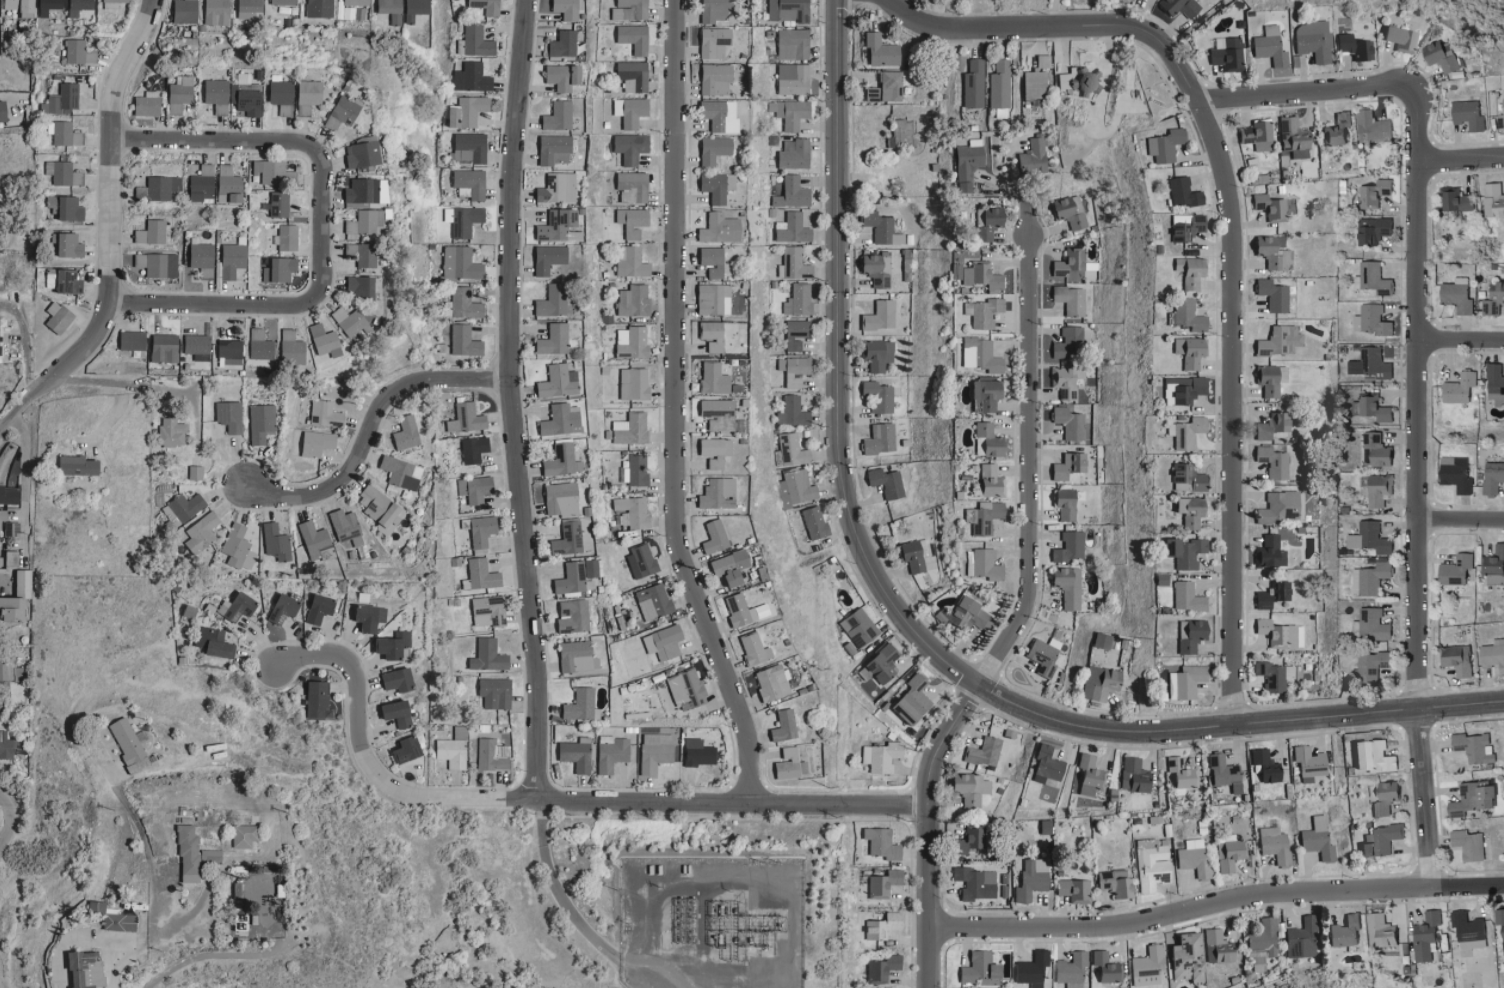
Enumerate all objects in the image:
building: (1131, 0)
building: (285, 2)
building: (321, 2)
building: (112, 3)
building: (357, 3)
building: (50, 6)
building: (483, 6)
building: (21, 7)
building: (79, 7)
building: (249, 8)
building: (1176, 8)
building: (401, 9)
building: (563, 9)
building: (627, 9)
building: (713, 10)
building: (786, 10)
building: (186, 11)
building: (217, 12)
road: (1054, 14)
road: (979, 15)
road: (1059, 29)
building: (630, 37)
building: (1397, 39)
building: (709, 40)
building: (474, 41)
building: (1311, 41)
building: (561, 43)
building: (790, 43)
building: (1268, 47)
building: (1353, 47)
building: (878, 50)
building: (74, 51)
building: (1226, 53)
building: (1440, 57)
building: (1041, 60)
building: (631, 75)
building: (558, 76)
building: (468, 77)
building: (710, 78)
building: (791, 78)
building: (1083, 81)
building: (972, 83)
building: (998, 84)
building: (1033, 84)
building: (889, 85)
building: (215, 91)
road: (1346, 92)
building: (180, 93)
building: (305, 96)
building: (61, 99)
building: (244, 101)
building: (1502, 103)
building: (147, 104)
building: (341, 108)
building: (629, 110)
building: (463, 111)
building: (4, 112)
building: (788, 113)
building: (716, 114)
building: (555, 115)
building: (1466, 116)
building: (1371, 127)
building: (1335, 128)
building: (1289, 133)
building: (63, 134)
building: (1255, 134)
building: (1162, 144)
building: (467, 146)
building: (626, 147)
building: (552, 149)
building: (710, 149)
building: (359, 153)
building: (791, 153)
building: (1031, 156)
building: (966, 163)
road: (1461, 164)
building: (273, 172)
building: (62, 173)
building: (200, 183)
building: (466, 183)
building: (713, 185)
building: (630, 186)
building: (156, 188)
building: (228, 188)
building: (555, 188)
building: (359, 190)
building: (1181, 191)
building: (790, 192)
road: (1015, 193)
building: (1373, 193)
building: (1454, 200)
building: (1492, 200)
building: (277, 203)
building: (1272, 206)
building: (65, 208)
building: (1068, 211)
road: (325, 216)
building: (464, 220)
building: (627, 220)
building: (367, 221)
building: (984, 222)
building: (553, 224)
building: (709, 227)
building: (878, 227)
building: (1183, 227)
building: (790, 228)
building: (1371, 230)
building: (149, 232)
road: (110, 236)
building: (284, 236)
building: (65, 245)
building: (1271, 251)
building: (197, 255)
building: (362, 255)
building: (544, 258)
building: (228, 259)
building: (709, 261)
building: (1065, 261)
building: (458, 262)
building: (630, 262)
building: (157, 264)
building: (793, 264)
building: (873, 267)
building: (277, 269)
building: (1188, 271)
building: (980, 275)
building: (1373, 278)
building: (63, 281)
building: (355, 288)
building: (1271, 294)
building: (1456, 295)
building: (711, 299)
building: (797, 299)
building: (1068, 299)
building: (1493, 299)
building: (549, 300)
building: (631, 300)
building: (982, 311)
building: (878, 315)
building: (1186, 315)
building: (55, 317)
building: (347, 321)
building: (793, 333)
building: (709, 335)
building: (128, 339)
building: (550, 339)
building: (321, 340)
building: (461, 340)
building: (1278, 340)
building: (628, 342)
building: (1065, 342)
road: (1462, 344)
building: (195, 346)
building: (161, 347)
building: (259, 348)
building: (227, 351)
road: (26, 352)
building: (875, 353)
building: (1188, 353)
building: (985, 357)
building: (1368, 364)
road: (839, 368)
building: (793, 370)
building: (712, 378)
building: (1268, 378)
building: (1061, 380)
building: (553, 382)
building: (632, 383)
building: (1495, 384)
road: (144, 386)
building: (1458, 388)
building: (1180, 389)
building: (983, 393)
building: (876, 395)
road: (515, 399)
road: (676, 407)
building: (1370, 407)
building: (794, 411)
building: (324, 413)
building: (715, 413)
building: (228, 415)
road: (1232, 417)
building: (465, 418)
building: (557, 419)
building: (259, 422)
building: (1066, 422)
building: (1270, 424)
road: (373, 426)
building: (627, 429)
building: (1184, 431)
building: (168, 432)
building: (402, 432)
building: (877, 438)
building: (985, 439)
building: (312, 442)
building: (471, 449)
building: (792, 449)
building: (711, 450)
building: (1375, 450)
building: (560, 460)
building: (1271, 461)
building: (71, 465)
building: (1066, 465)
road: (1031, 467)
building: (634, 470)
building: (398, 471)
building: (192, 472)
building: (1454, 474)
building: (1185, 477)
building: (1492, 477)
building: (987, 480)
building: (883, 481)
road: (22, 484)
building: (798, 485)
building: (473, 488)
building: (1375, 489)
building: (715, 493)
building: (559, 498)
building: (1062, 502)
building: (184, 505)
building: (1299, 505)
building: (374, 506)
building: (1275, 507)
building: (1187, 510)
building: (630, 511)
building: (812, 521)
road: (1462, 523)
building: (7, 526)
building: (343, 526)
road: (1420, 529)
building: (479, 530)
building: (200, 532)
building: (712, 536)
building: (1373, 537)
building: (565, 538)
building: (312, 540)
building: (272, 541)
building: (1067, 547)
building: (235, 548)
building: (1181, 551)
building: (1267, 551)
building: (910, 554)
building: (638, 560)
building: (1493, 560)
building: (979, 564)
building: (721, 570)
building: (1454, 570)
building: (480, 574)
road: (1, 578)
building: (1369, 578)
building: (19, 582)
building: (1065, 585)
building: (1270, 594)
building: (1185, 597)
building: (652, 601)
building: (234, 606)
building: (8, 608)
building: (279, 608)
building: (314, 608)
building: (485, 610)
building: (737, 610)
building: (965, 612)
building: (378, 614)
building: (572, 615)
building: (359, 616)
building: (1371, 624)
building: (857, 627)
building: (1275, 633)
building: (1188, 635)
building: (1098, 640)
building: (664, 641)
building: (210, 642)
building: (387, 644)
building: (751, 648)
building: (485, 655)
building: (576, 655)
building: (1042, 655)
building: (1493, 656)
building: (1456, 659)
building: (880, 663)
building: (1371, 665)
building: (8, 668)
building: (1273, 675)
building: (394, 679)
building: (1187, 680)
building: (769, 682)
building: (1098, 683)
building: (682, 689)
building: (492, 692)
building: (315, 699)
building: (909, 699)
building: (577, 704)
building: (392, 712)
road: (356, 714)
building: (780, 725)
road: (1237, 727)
building: (121, 739)
building: (3, 745)
building: (1473, 747)
building: (402, 748)
building: (652, 751)
building: (985, 751)
building: (449, 752)
building: (695, 752)
building: (490, 753)
building: (574, 753)
building: (609, 754)
building: (1368, 755)
building: (880, 756)
building: (1044, 763)
building: (1306, 763)
building: (134, 764)
building: (1262, 765)
building: (1222, 772)
building: (1178, 773)
building: (1087, 775)
building: (1132, 775)
building: (969, 788)
building: (1382, 798)
building: (1471, 798)
road: (681, 801)
road: (9, 822)
road: (933, 831)
building: (234, 836)
building: (1316, 839)
building: (965, 840)
building: (1377, 841)
building: (879, 843)
building: (1272, 844)
building: (1467, 845)
building: (186, 852)
building: (1228, 854)
building: (1192, 858)
road: (149, 862)
building: (1150, 864)
road: (303, 868)
building: (1032, 876)
building: (882, 882)
building: (974, 882)
building: (1116, 883)
building: (1072, 890)
road: (580, 902)
road: (1217, 905)
building: (106, 917)
building: (237, 922)
power substation: (711, 923)
building: (880, 925)
building: (1467, 930)
building: (1344, 931)
building: (1379, 931)
road: (148, 936)
building: (1263, 936)
building: (1424, 936)
building: (1300, 938)
building: (1502, 943)
building: (1216, 947)
road: (227, 954)
building: (1183, 957)
building: (1145, 965)
building: (881, 968)
building: (1070, 968)
building: (1103, 968)
building: (75, 969)
building: (978, 969)
building: (1030, 971)

